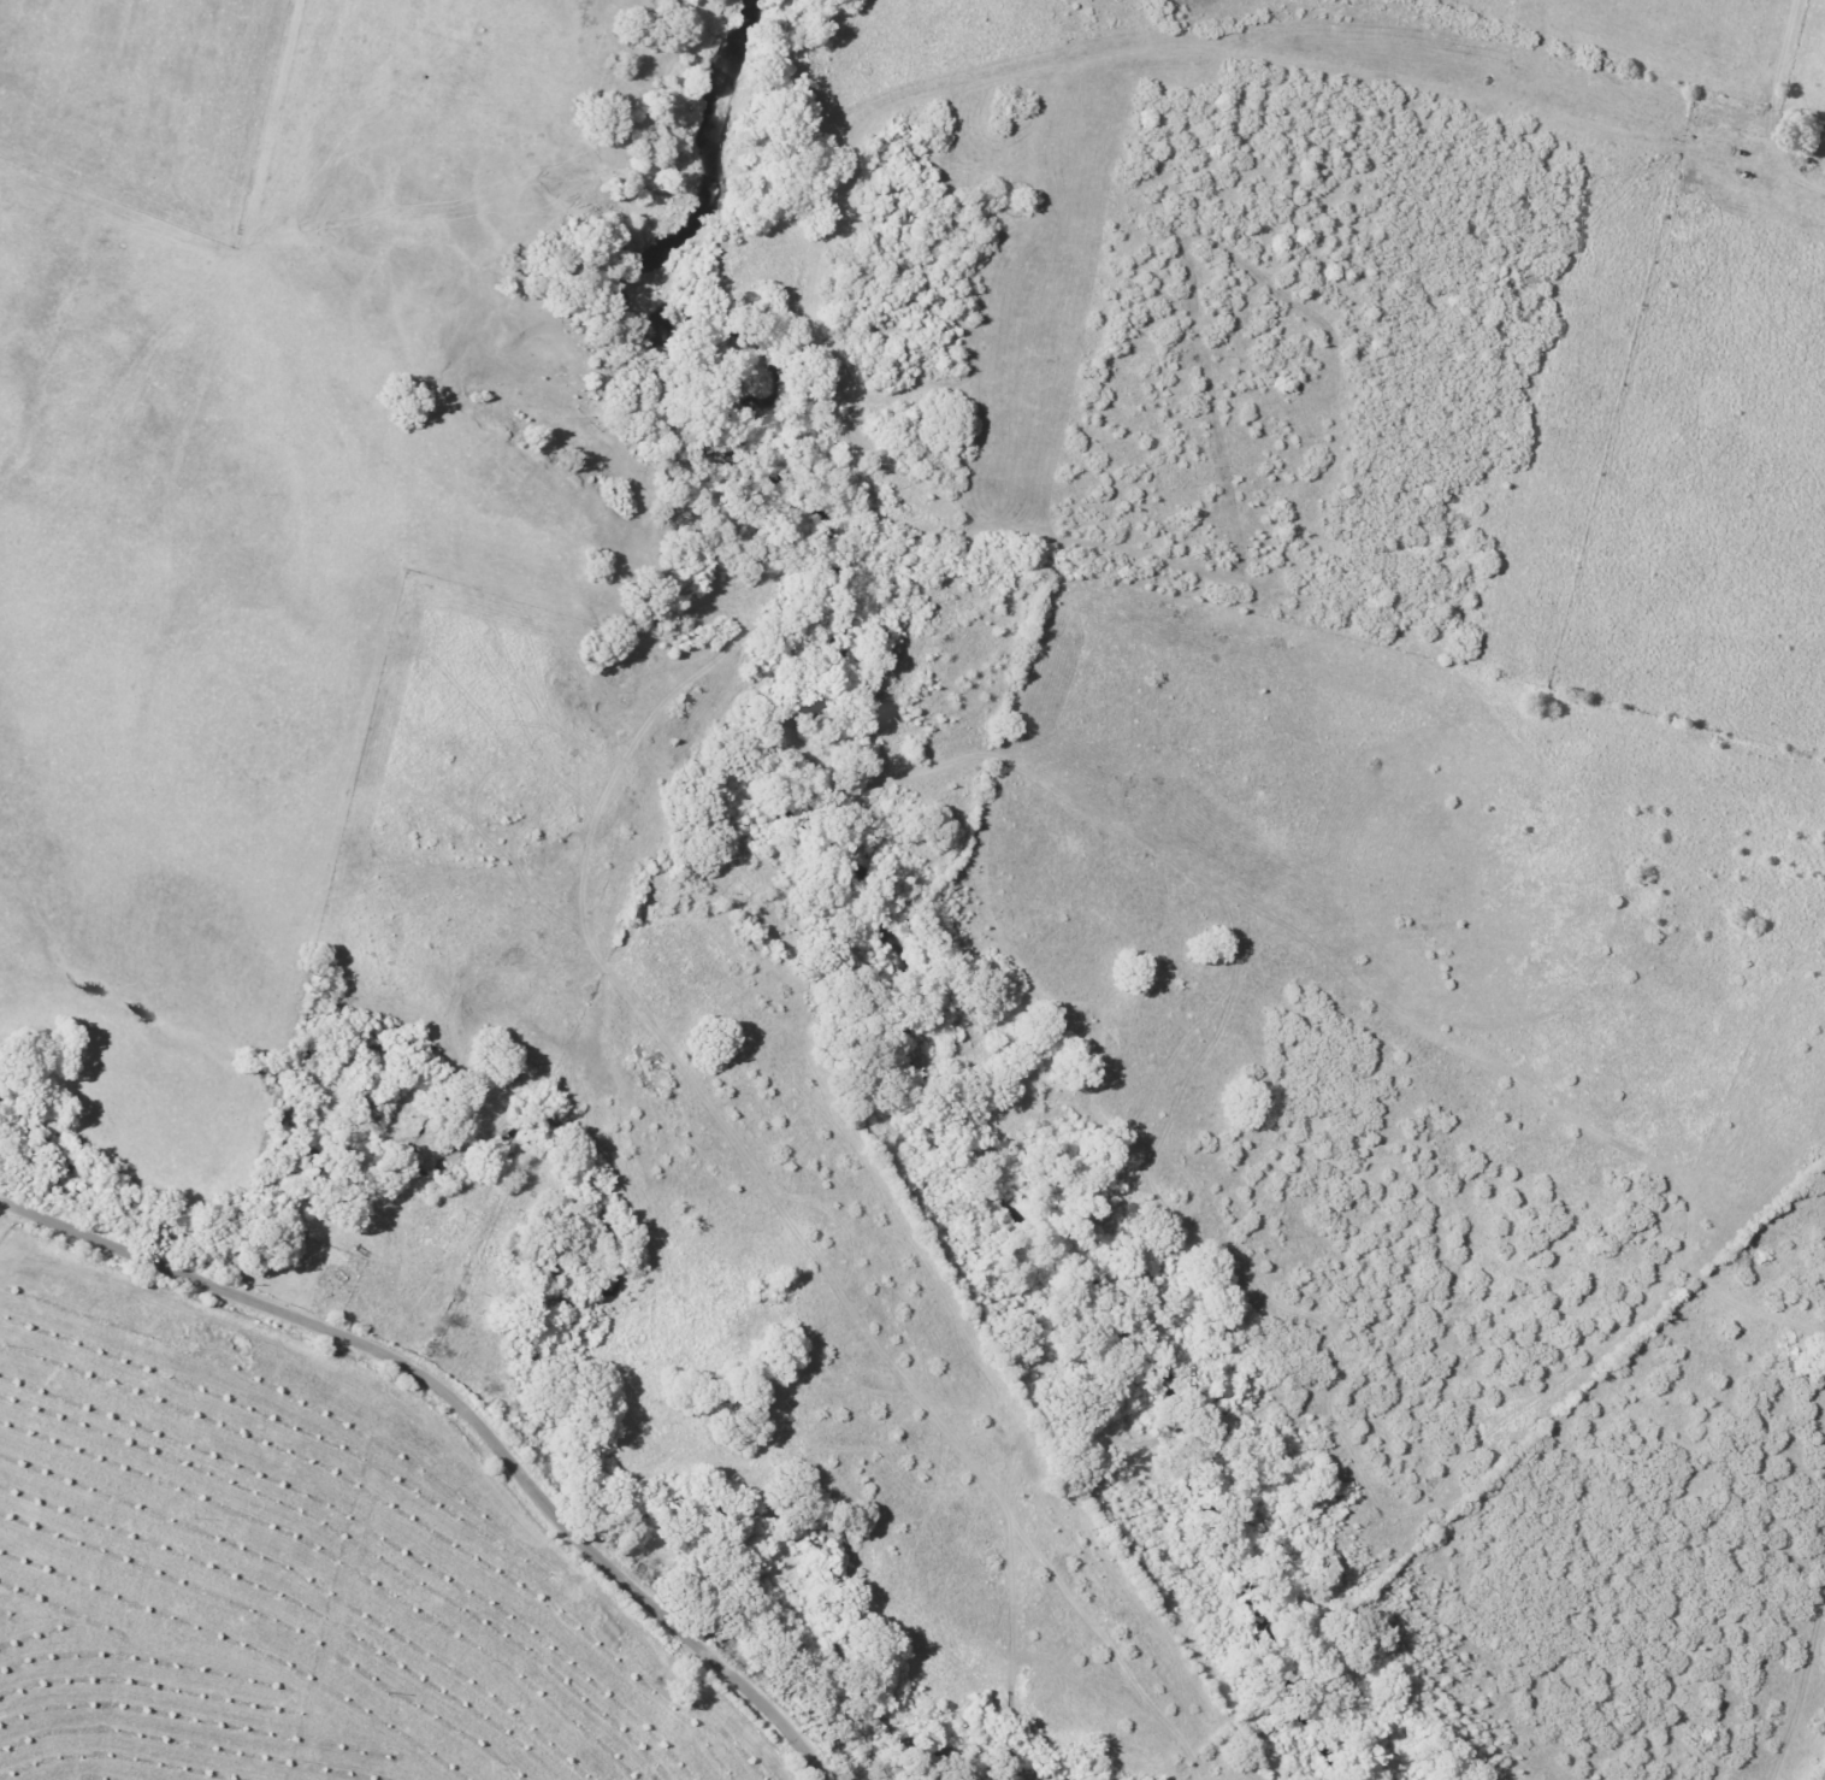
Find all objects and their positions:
road: (466, 1413)

